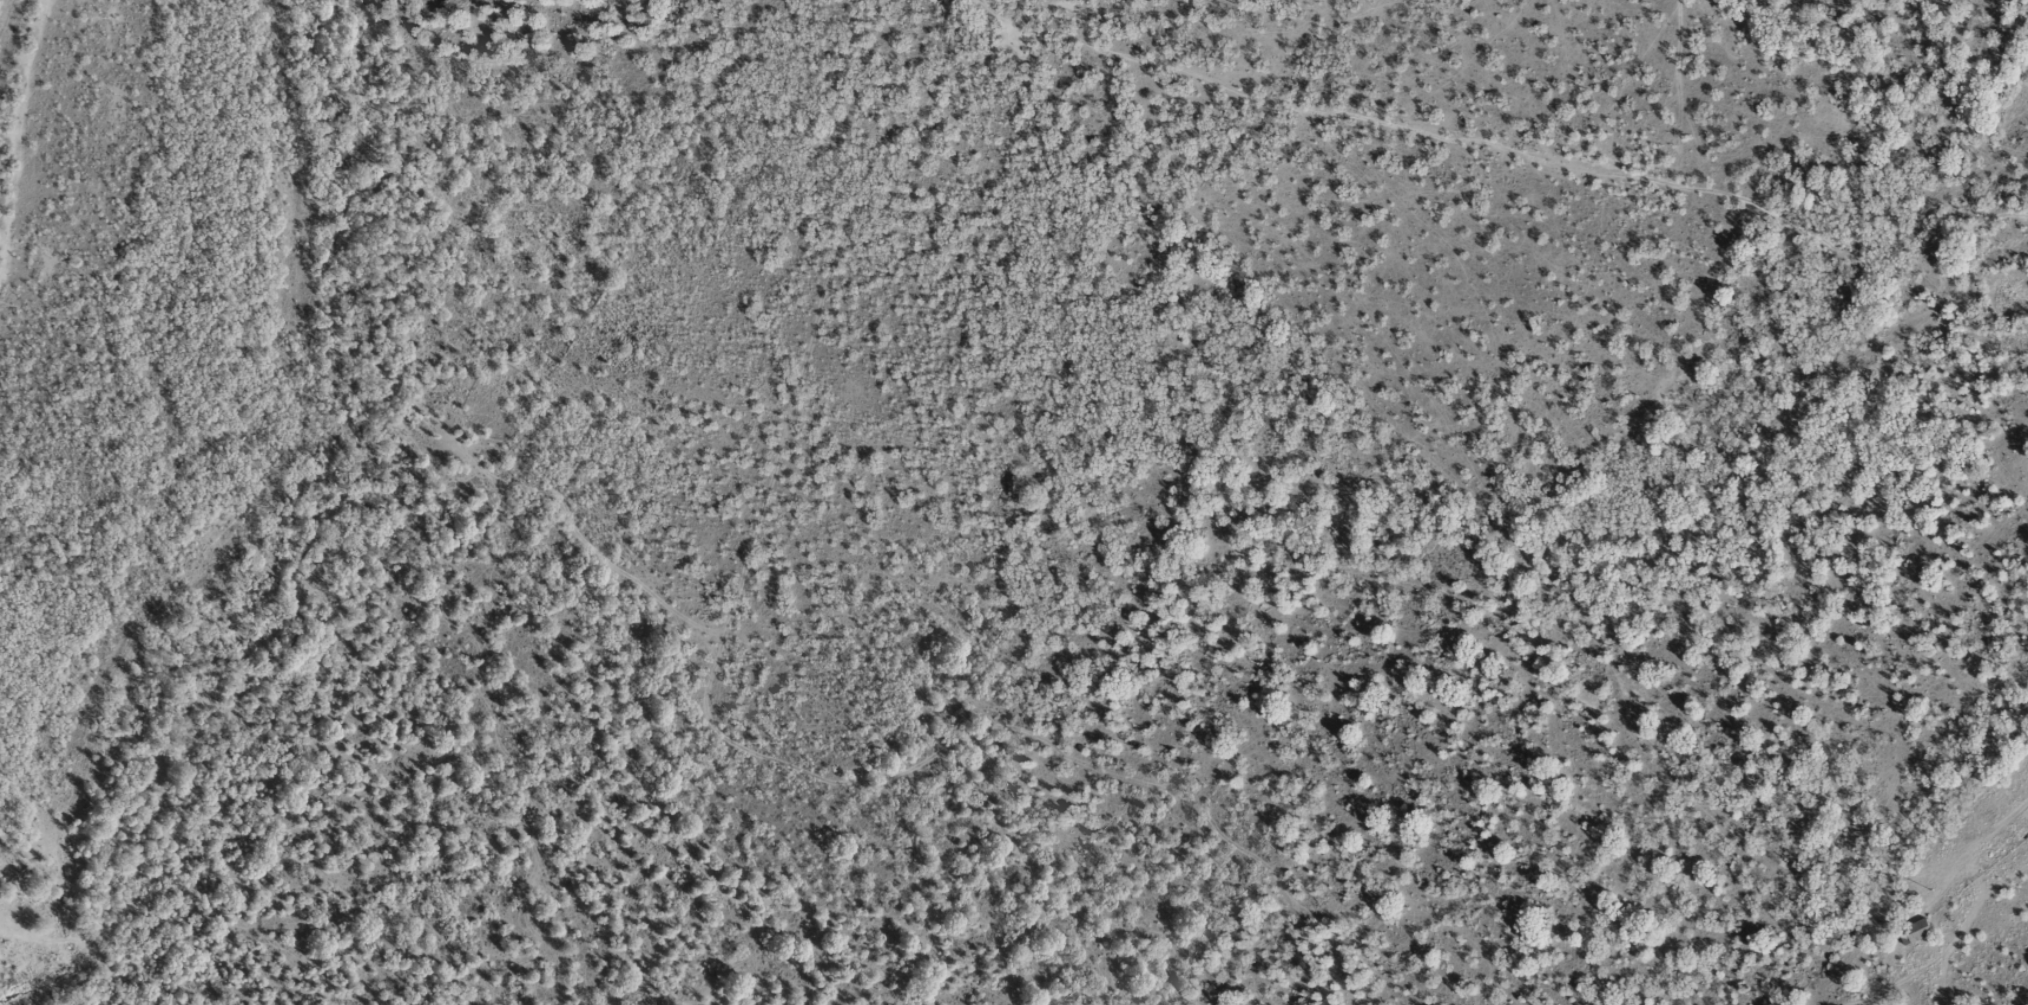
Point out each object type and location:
road: (1971, 808)
building: (1910, 931)

